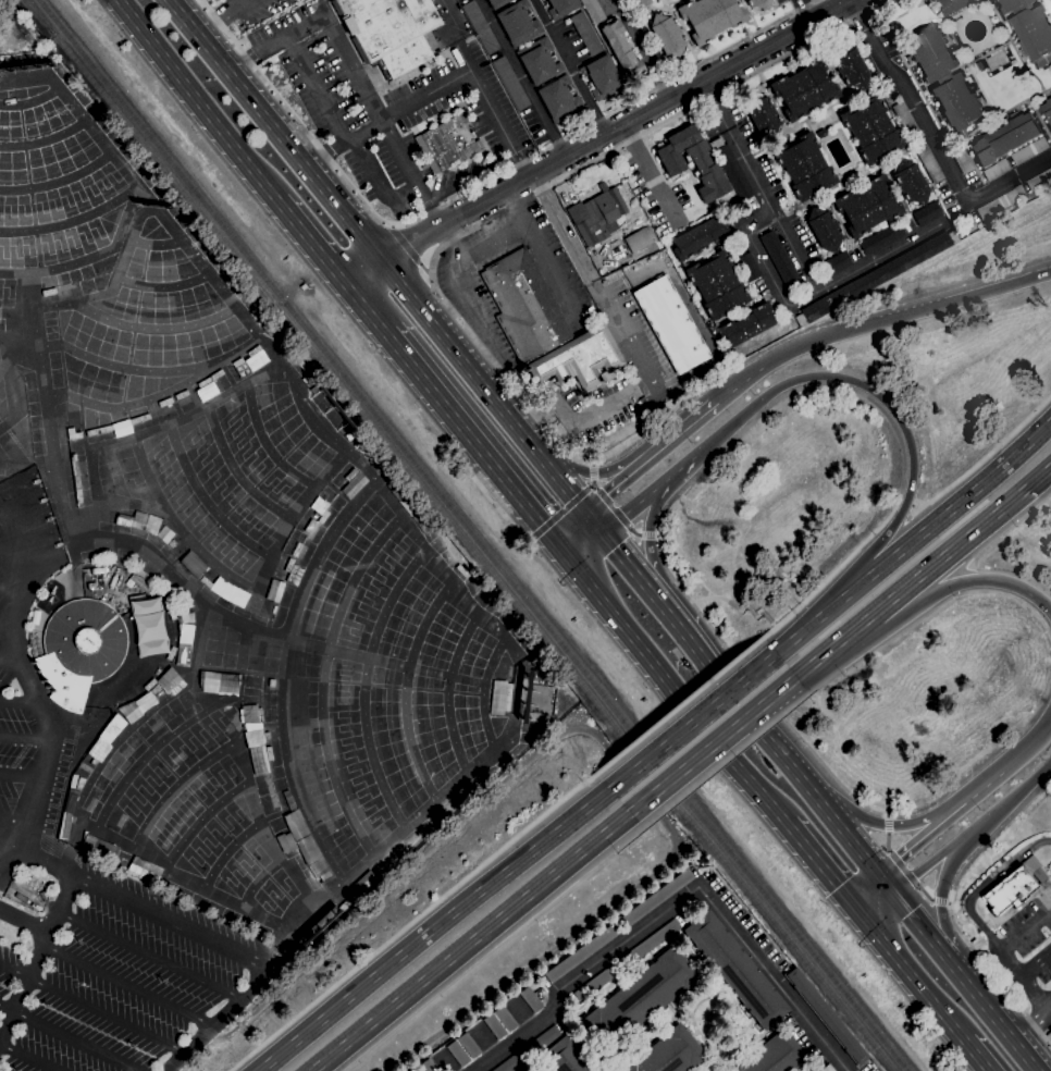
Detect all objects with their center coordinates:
building: (641, 2)
road: (843, 2)
building: (496, 3)
building: (758, 4)
railway: (29, 5)
building: (952, 5)
building: (560, 7)
building: (593, 10)
road: (807, 11)
road: (224, 14)
building: (709, 17)
building: (518, 23)
building: (480, 26)
building: (1030, 29)
building: (390, 32)
building: (585, 33)
building: (668, 35)
road: (275, 41)
building: (622, 51)
building: (539, 61)
building: (979, 65)
building: (850, 66)
road: (570, 67)
building: (602, 77)
road: (475, 78)
road: (522, 78)
building: (944, 78)
building: (510, 82)
road: (317, 88)
building: (804, 89)
building: (559, 99)
road: (199, 100)
building: (1048, 109)
road: (648, 111)
building: (762, 114)
road: (382, 120)
building: (906, 120)
building: (870, 128)
road: (276, 132)
building: (823, 133)
building: (1004, 139)
road: (935, 140)
road: (343, 143)
building: (447, 144)
road: (737, 144)
building: (1029, 151)
building: (963, 160)
building: (692, 161)
building: (929, 163)
building: (804, 165)
building: (732, 168)
building: (996, 170)
road: (648, 175)
road: (470, 176)
building: (1039, 181)
road: (378, 182)
building: (911, 182)
road: (473, 188)
road: (536, 192)
building: (1001, 201)
building: (867, 206)
building: (927, 213)
building: (597, 216)
road: (758, 216)
road: (941, 222)
road: (438, 226)
building: (824, 229)
building: (698, 237)
building: (882, 237)
building: (640, 238)
road: (455, 239)
building: (668, 239)
road: (407, 244)
road: (314, 246)
road: (794, 249)
road: (412, 250)
road: (544, 254)
building: (781, 261)
building: (837, 262)
building: (751, 268)
road: (419, 271)
road: (584, 272)
road: (368, 276)
building: (876, 276)
road: (777, 280)
road: (826, 280)
road: (459, 284)
building: (717, 284)
road: (832, 285)
road: (405, 290)
building: (524, 305)
road: (447, 309)
road: (370, 312)
road: (895, 315)
building: (670, 324)
building: (746, 324)
road: (811, 328)
building: (255, 350)
building: (259, 358)
building: (578, 359)
building: (215, 374)
road: (732, 391)
road: (876, 394)
road: (211, 402)
road: (505, 414)
building: (139, 418)
building: (100, 430)
building: (75, 435)
road: (673, 440)
road: (475, 442)
road: (985, 457)
road: (678, 470)
building: (381, 471)
building: (346, 473)
road: (590, 473)
road: (594, 473)
building: (35, 481)
building: (398, 490)
road: (607, 493)
building: (410, 498)
building: (41, 500)
road: (901, 500)
building: (323, 502)
road: (906, 503)
road: (956, 503)
road: (634, 506)
road: (915, 506)
road: (500, 509)
road: (560, 513)
traffic signals: (585, 513)
road: (622, 517)
building: (49, 518)
building: (138, 519)
building: (420, 522)
road: (594, 522)
building: (152, 526)
road: (979, 526)
road: (21, 527)
road: (574, 531)
building: (164, 533)
traffic signals: (604, 533)
road: (648, 533)
railway: (461, 534)
railway: (472, 534)
road: (583, 542)
building: (294, 543)
building: (58, 544)
traffic signals: (564, 551)
road: (12, 555)
road: (34, 558)
road: (626, 562)
building: (193, 564)
building: (99, 569)
road: (836, 569)
building: (295, 575)
road: (672, 577)
building: (113, 581)
road: (984, 581)
building: (141, 584)
building: (274, 591)
road: (12, 592)
road: (710, 596)
road: (891, 596)
building: (165, 603)
building: (146, 605)
road: (742, 606)
road: (757, 612)
building: (35, 616)
road: (818, 617)
road: (618, 618)
road: (772, 624)
building: (149, 626)
road: (9, 629)
road: (684, 633)
building: (184, 637)
road: (834, 643)
building: (152, 647)
building: (81, 649)
building: (171, 653)
road: (12, 664)
building: (218, 681)
road: (486, 681)
building: (254, 682)
road: (35, 689)
building: (152, 693)
building: (498, 697)
road: (21, 701)
road: (680, 704)
building: (247, 713)
building: (532, 716)
road: (693, 721)
building: (309, 723)
building: (112, 728)
road: (768, 736)
road: (26, 738)
building: (252, 738)
road: (713, 744)
road: (809, 746)
road: (1027, 746)
building: (271, 749)
road: (729, 753)
building: (85, 766)
building: (260, 773)
road: (22, 774)
road: (979, 790)
building: (71, 799)
road: (1009, 800)
road: (17, 811)
road: (888, 814)
road: (883, 823)
road: (888, 824)
building: (64, 825)
road: (848, 834)
road: (887, 841)
road: (917, 842)
road: (12, 845)
building: (302, 846)
road: (376, 850)
building: (122, 860)
road: (929, 864)
road: (821, 865)
road: (903, 866)
traffic signals: (879, 874)
road: (887, 884)
building: (1013, 884)
road: (984, 886)
road: (924, 888)
road: (943, 890)
road: (868, 891)
road: (941, 892)
traffic signals: (894, 894)
building: (42, 896)
road: (950, 896)
building: (21, 897)
building: (658, 897)
road: (876, 901)
road: (675, 902)
building: (35, 906)
road: (145, 907)
traffic signals: (858, 910)
road: (24, 920)
road: (413, 922)
road: (917, 922)
road: (434, 928)
road: (1026, 932)
road: (471, 941)
road: (148, 953)
building: (581, 953)
road: (37, 957)
road: (945, 957)
building: (628, 959)
road: (1036, 965)
road: (989, 968)
building: (735, 970)
road: (911, 974)
road: (1025, 982)
road: (125, 985)
parking lot: (107, 994)
building: (640, 998)
building: (532, 999)
road: (90, 1009)
building: (827, 1017)
road: (993, 1017)
building: (506, 1019)
road: (214, 1020)
road: (1033, 1023)
building: (495, 1025)
road: (69, 1037)
building: (469, 1045)
building: (529, 1049)
building: (459, 1052)
building: (668, 1052)
building: (775, 1055)
road: (977, 1055)
road: (27, 1057)
building: (565, 1057)
building: (429, 1066)
building: (828, 1068)
building: (520, 1070)
building: (815, 1070)

